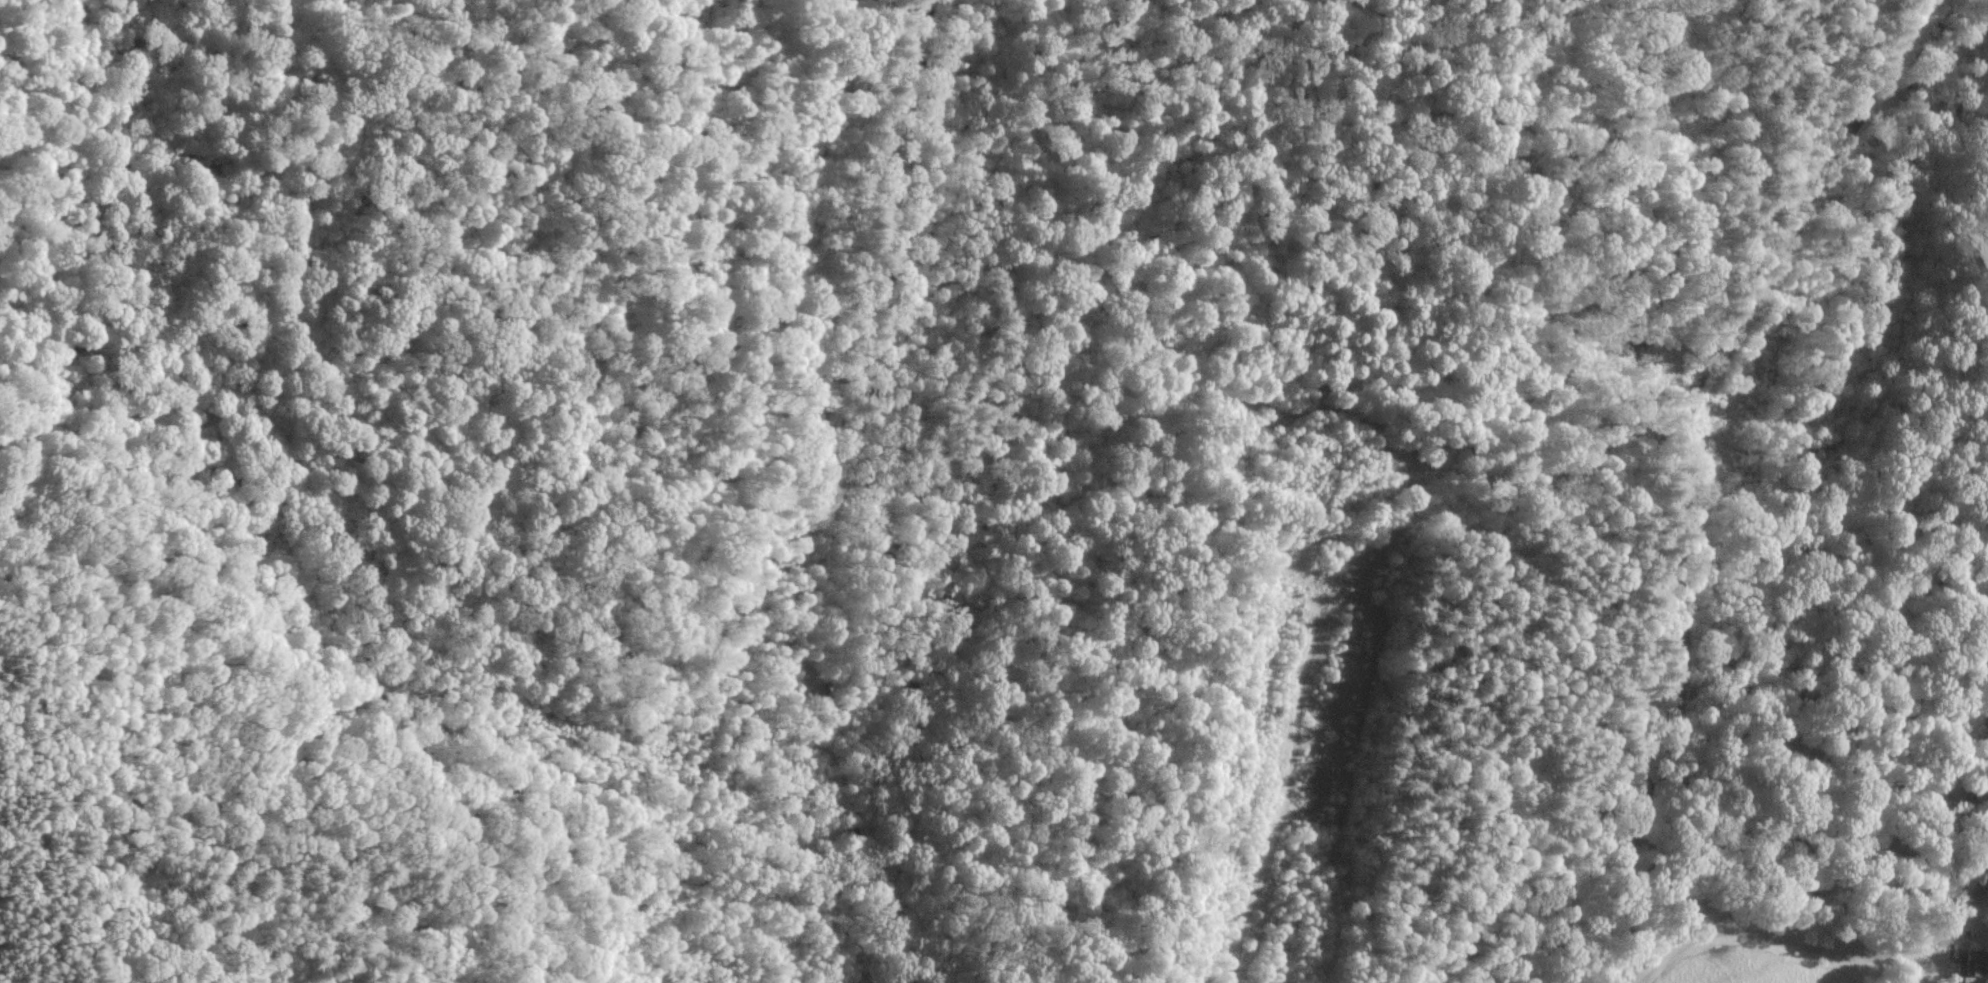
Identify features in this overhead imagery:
road: (1906, 8)
road: (1921, 8)
road: (1694, 474)
building: (1971, 881)
road: (1814, 947)
building: (1965, 966)

